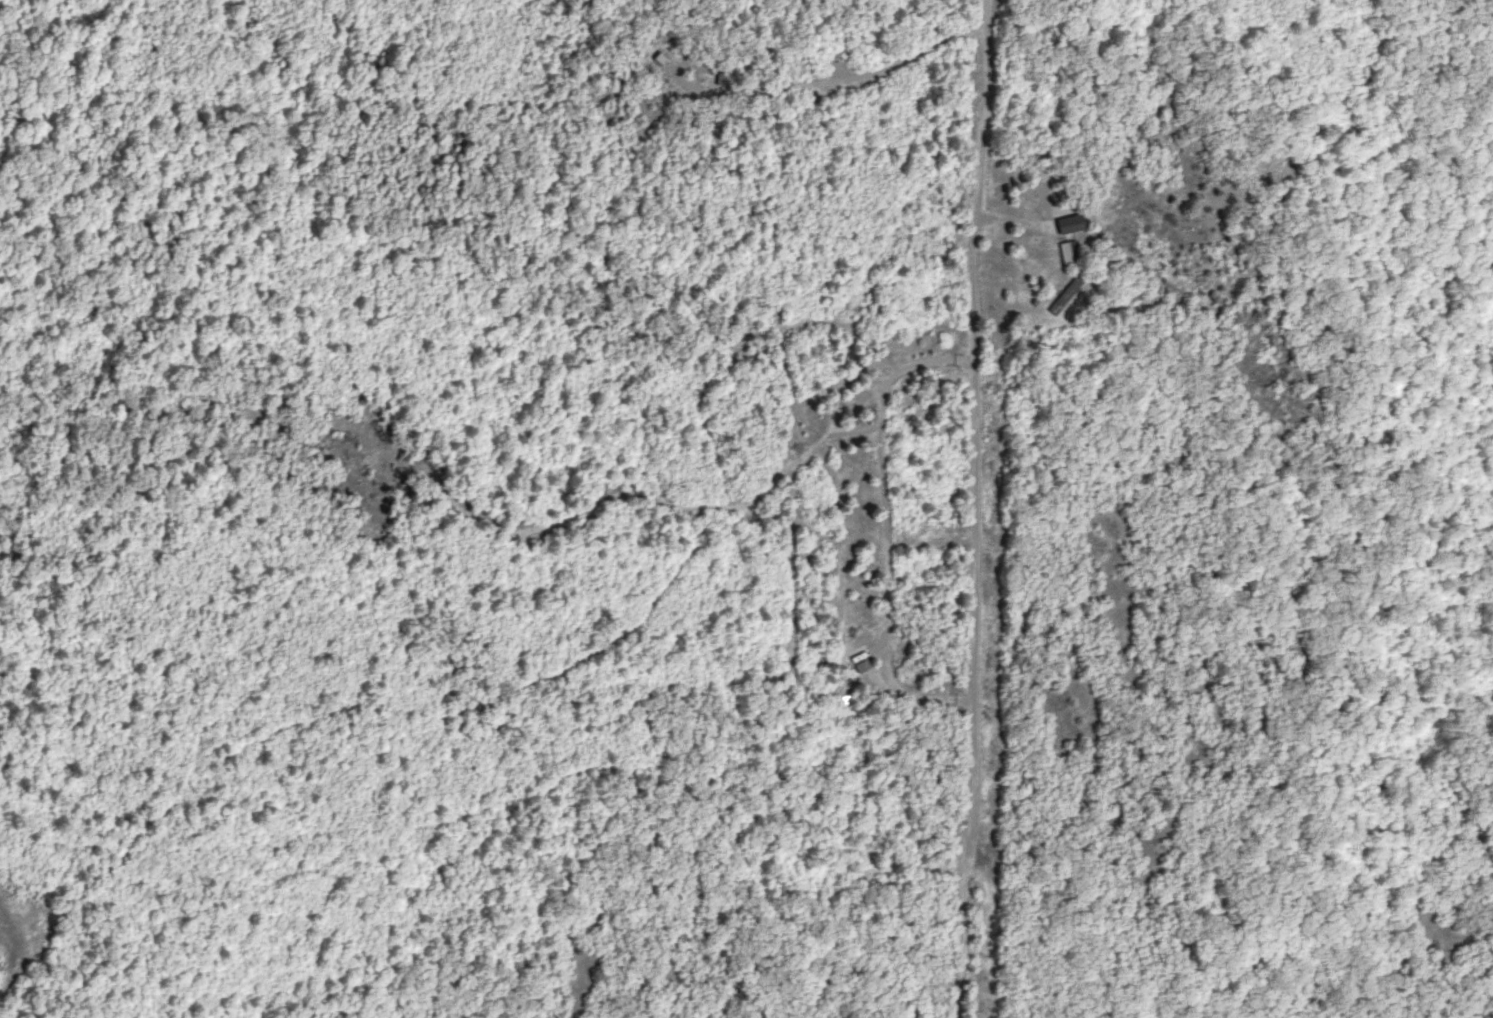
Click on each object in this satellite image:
road: (1242, 195)
building: (1069, 252)
building: (1066, 295)

